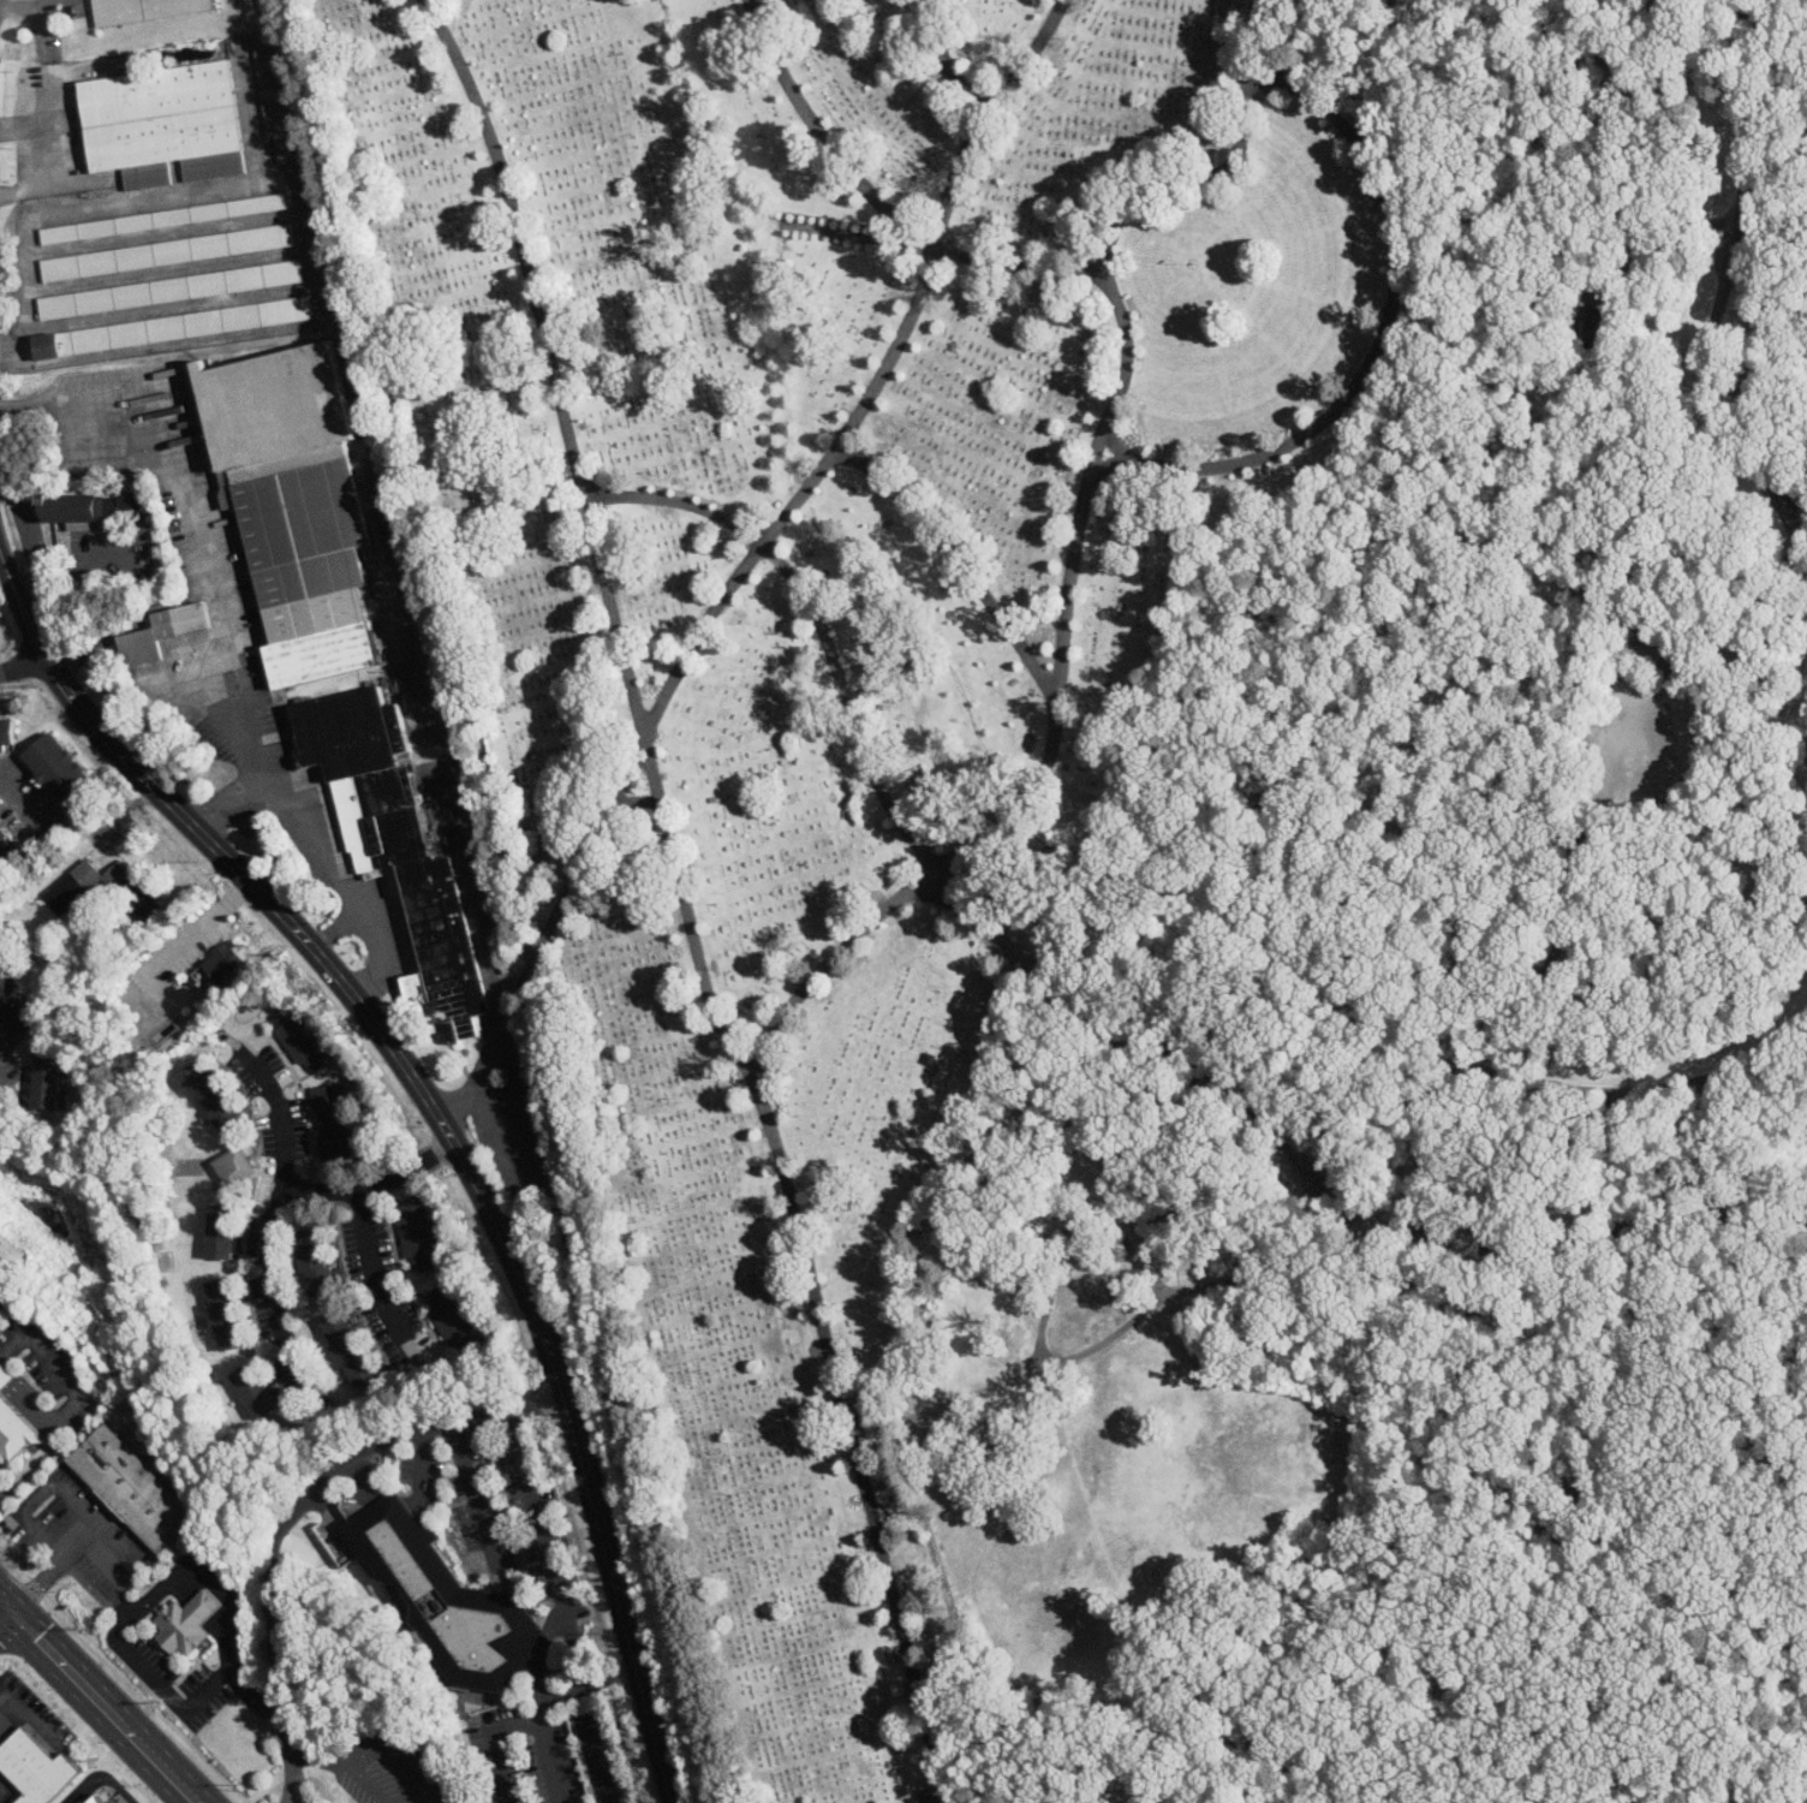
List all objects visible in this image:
road: (11, 2)
building: (145, 10)
road: (944, 63)
road: (1260, 88)
building: (278, 96)
building: (163, 123)
road: (35, 154)
road: (878, 204)
building: (161, 218)
building: (329, 250)
building: (166, 251)
building: (172, 288)
road: (1719, 300)
building: (172, 327)
road: (1379, 341)
road: (13, 409)
road: (1114, 445)
road: (815, 472)
building: (132, 500)
building: (294, 505)
building: (78, 507)
road: (31, 553)
road: (958, 563)
road: (83, 569)
road: (25, 588)
building: (161, 631)
park: (5, 633)
road: (223, 650)
road: (20, 665)
park: (819, 673)
road: (1724, 677)
road: (843, 696)
road: (1298, 714)
building: (7, 730)
road: (1806, 763)
building: (61, 772)
road: (240, 793)
road: (20, 801)
road: (203, 820)
building: (396, 847)
building: (7, 849)
building: (72, 887)
road: (518, 899)
road: (178, 946)
road: (484, 951)
building: (226, 958)
road: (363, 990)
road: (792, 1001)
building: (12, 1016)
park: (1441, 1022)
road: (496, 1035)
building: (299, 1036)
building: (46, 1082)
road: (1545, 1085)
road: (1228, 1089)
building: (211, 1096)
building: (332, 1123)
road: (439, 1123)
building: (233, 1166)
road: (369, 1183)
road: (1396, 1222)
road: (269, 1226)
building: (221, 1231)
road: (1612, 1232)
building: (417, 1234)
building: (1083, 1255)
building: (315, 1257)
road: (371, 1261)
building: (225, 1313)
building: (452, 1317)
building: (345, 1350)
road: (52, 1365)
building: (5, 1376)
building: (254, 1391)
road: (1671, 1409)
building: (14, 1429)
road: (52, 1430)
road: (849, 1439)
road: (421, 1463)
building: (132, 1486)
road: (471, 1493)
road: (292, 1509)
road: (1391, 1516)
road: (1766, 1535)
road: (119, 1547)
road: (551, 1571)
road: (84, 1576)
road: (197, 1599)
building: (448, 1599)
road: (5, 1615)
building: (186, 1621)
road: (557, 1690)
road: (99, 1701)
road: (26, 1714)
road: (490, 1742)
road: (380, 1747)
parking lot: (548, 1750)
road: (320, 1757)
road: (550, 1759)
road: (607, 1759)
road: (1720, 1763)
building: (36, 1767)
road: (97, 1775)
parking lot: (387, 1779)
road: (5, 1792)
building: (97, 1798)
road: (1144, 1802)

